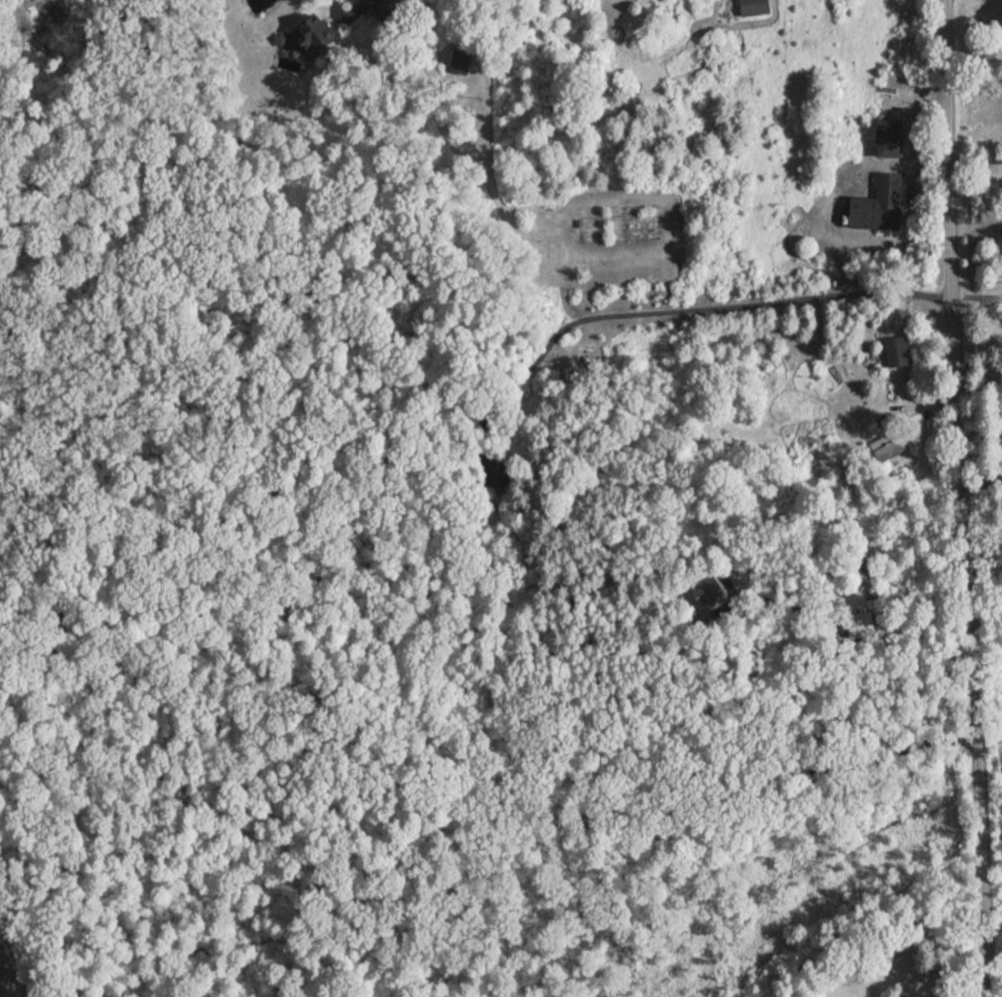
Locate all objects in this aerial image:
building: (748, 7)
building: (318, 37)
building: (879, 138)
road: (974, 159)
building: (875, 205)
road: (696, 320)
building: (892, 350)
road: (964, 498)
road: (921, 651)
road: (803, 773)
road: (994, 927)

